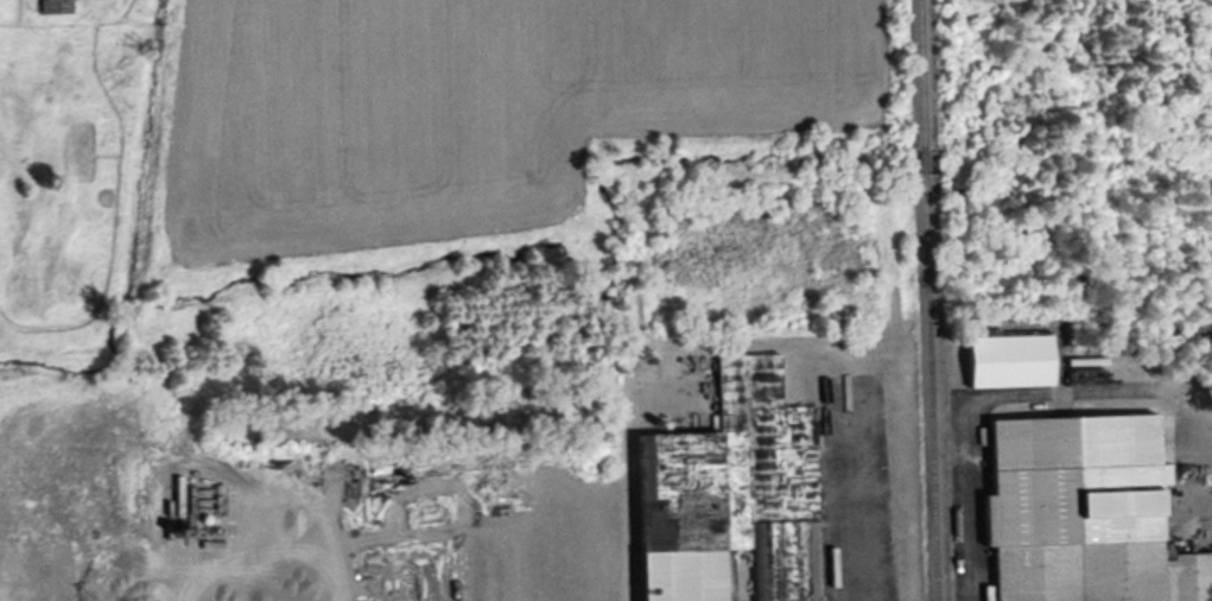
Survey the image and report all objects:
building: (56, 6)
railway: (924, 75)
railway: (926, 162)
building: (1010, 360)
railway: (931, 386)
building: (734, 493)
building: (1084, 513)

